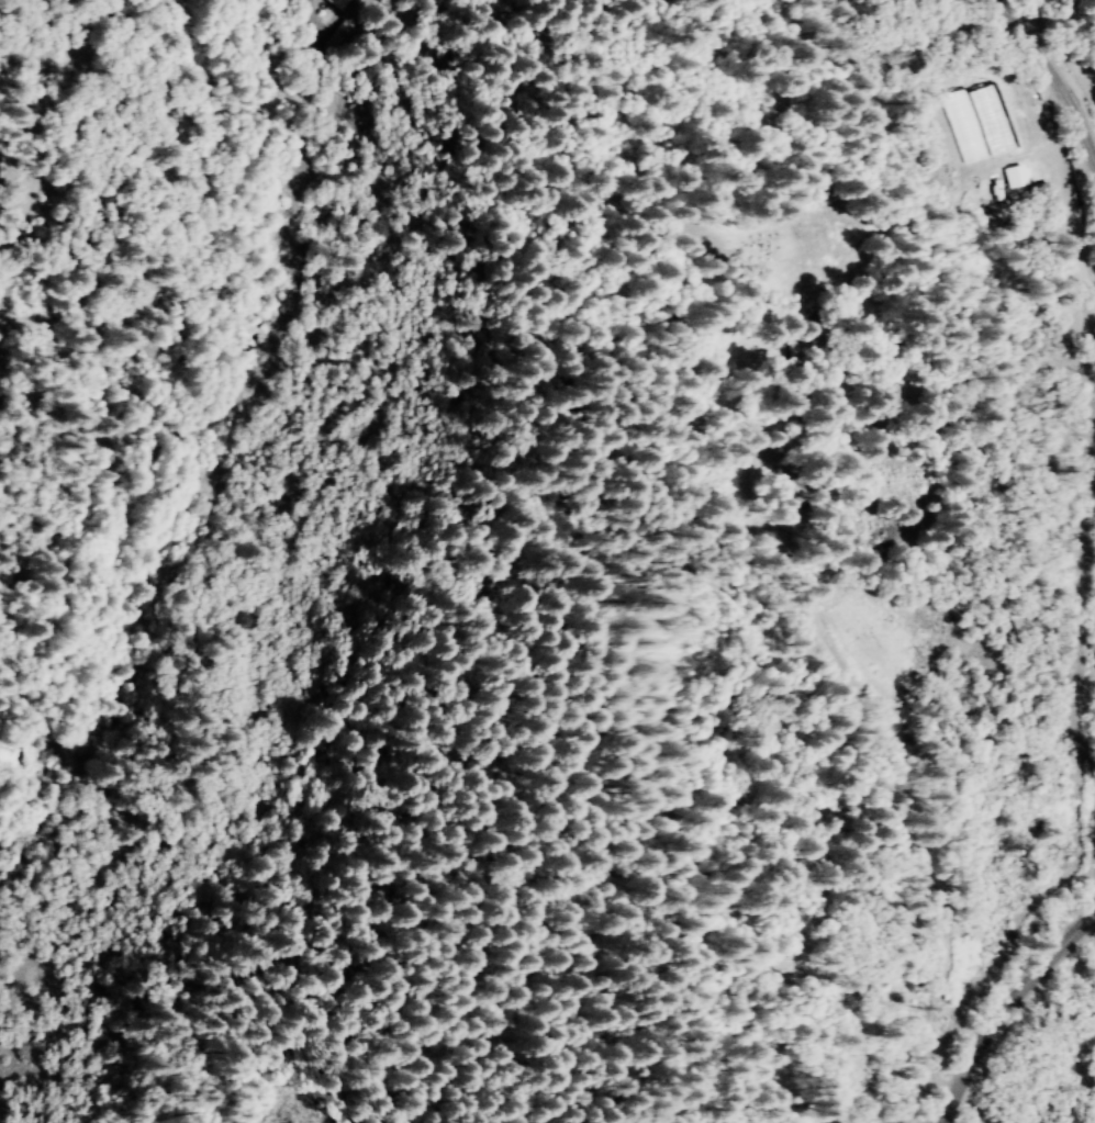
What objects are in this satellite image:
building: (338, 3)
road: (14, 162)
building: (1013, 175)
building: (1039, 196)
road: (1090, 557)
road: (1091, 677)

